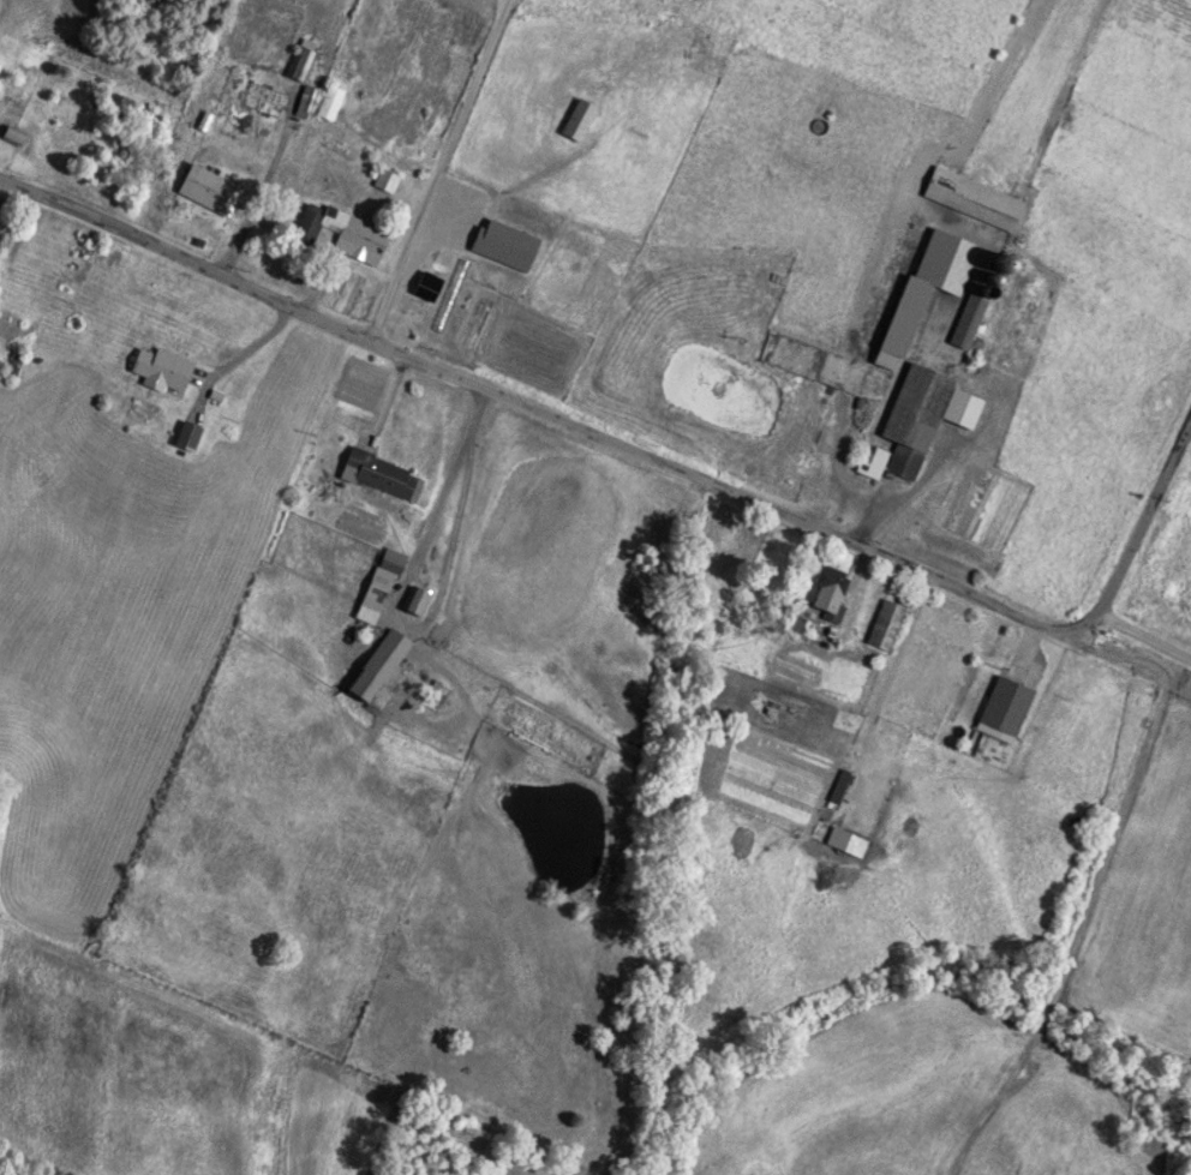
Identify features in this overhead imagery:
building: (299, 64)
building: (327, 101)
building: (231, 115)
road: (437, 169)
building: (384, 179)
building: (204, 180)
building: (970, 197)
building: (315, 222)
building: (920, 293)
building: (966, 317)
building: (158, 368)
building: (914, 420)
building: (184, 436)
road: (654, 458)
building: (377, 581)
building: (824, 593)
building: (412, 601)
building: (882, 625)
road: (1142, 641)
building: (381, 655)
building: (1003, 707)
building: (848, 844)

